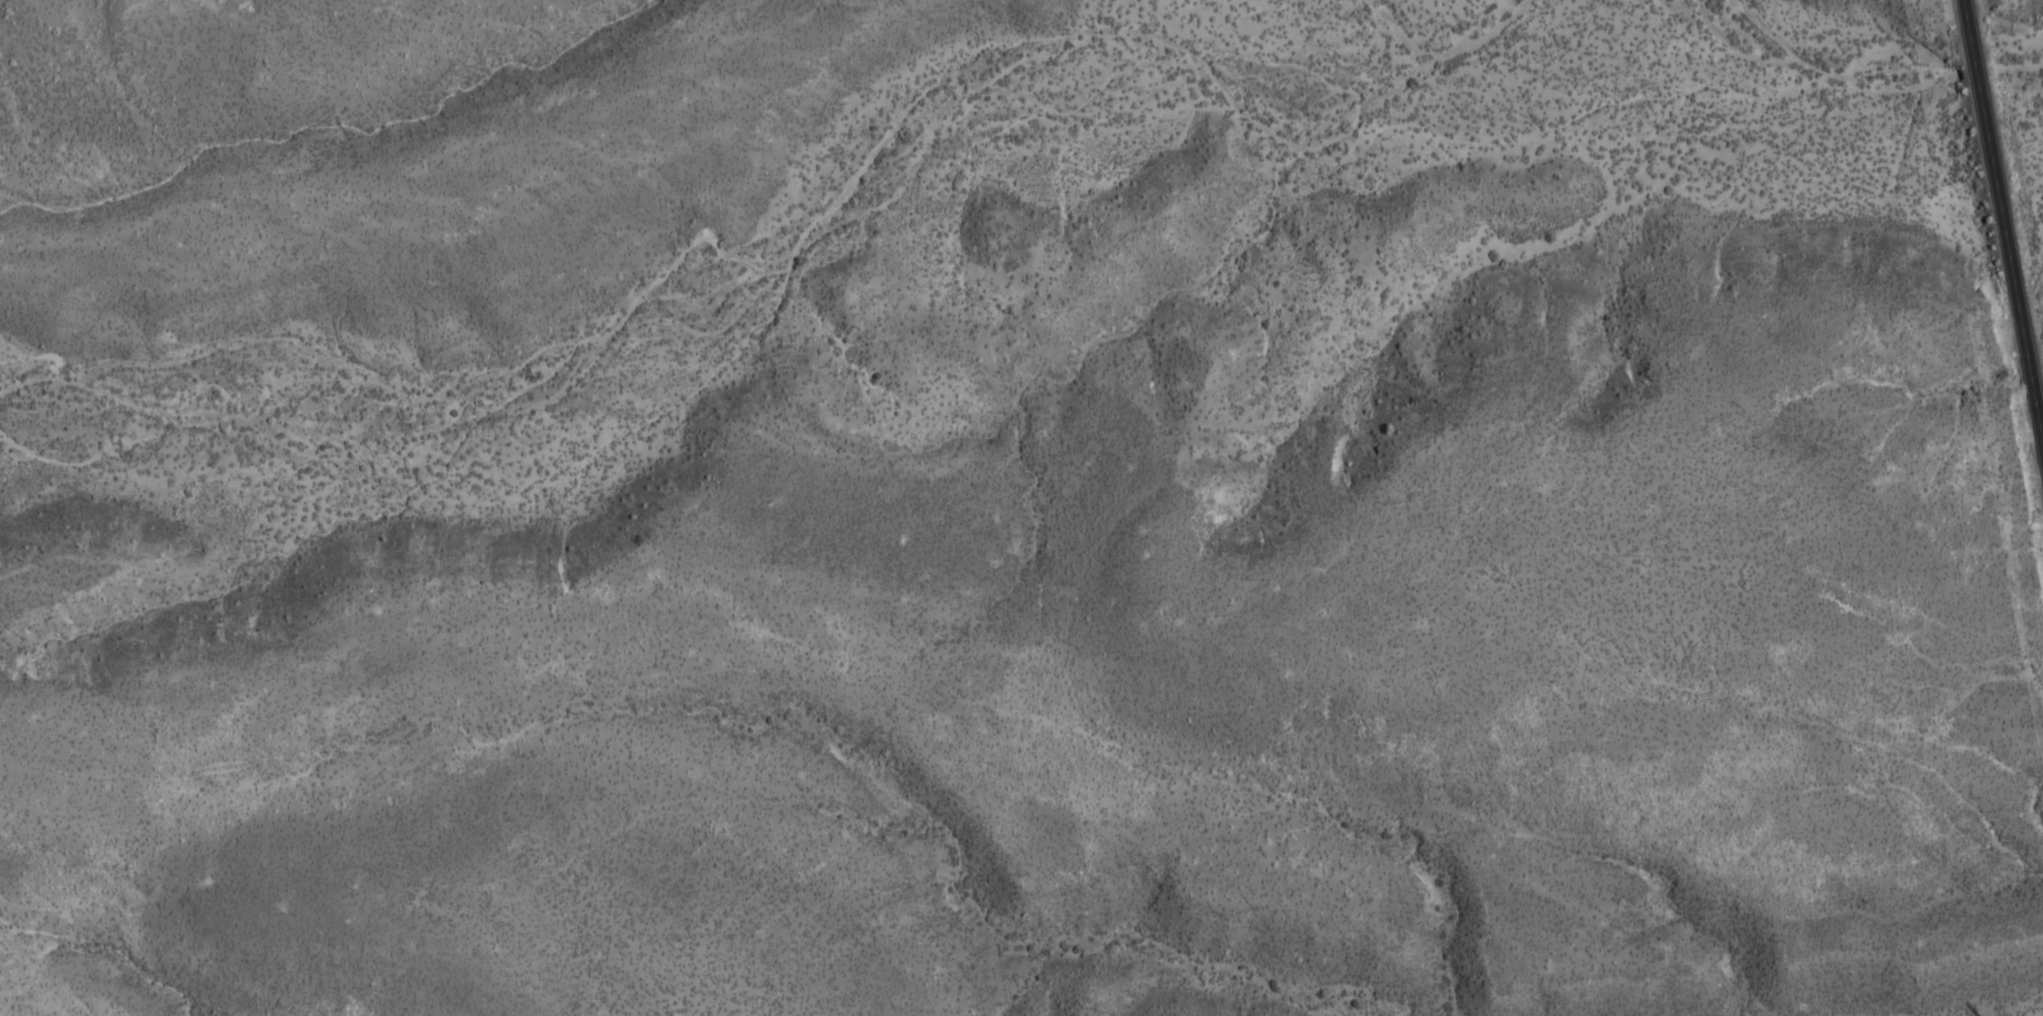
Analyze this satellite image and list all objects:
road: (2002, 222)

